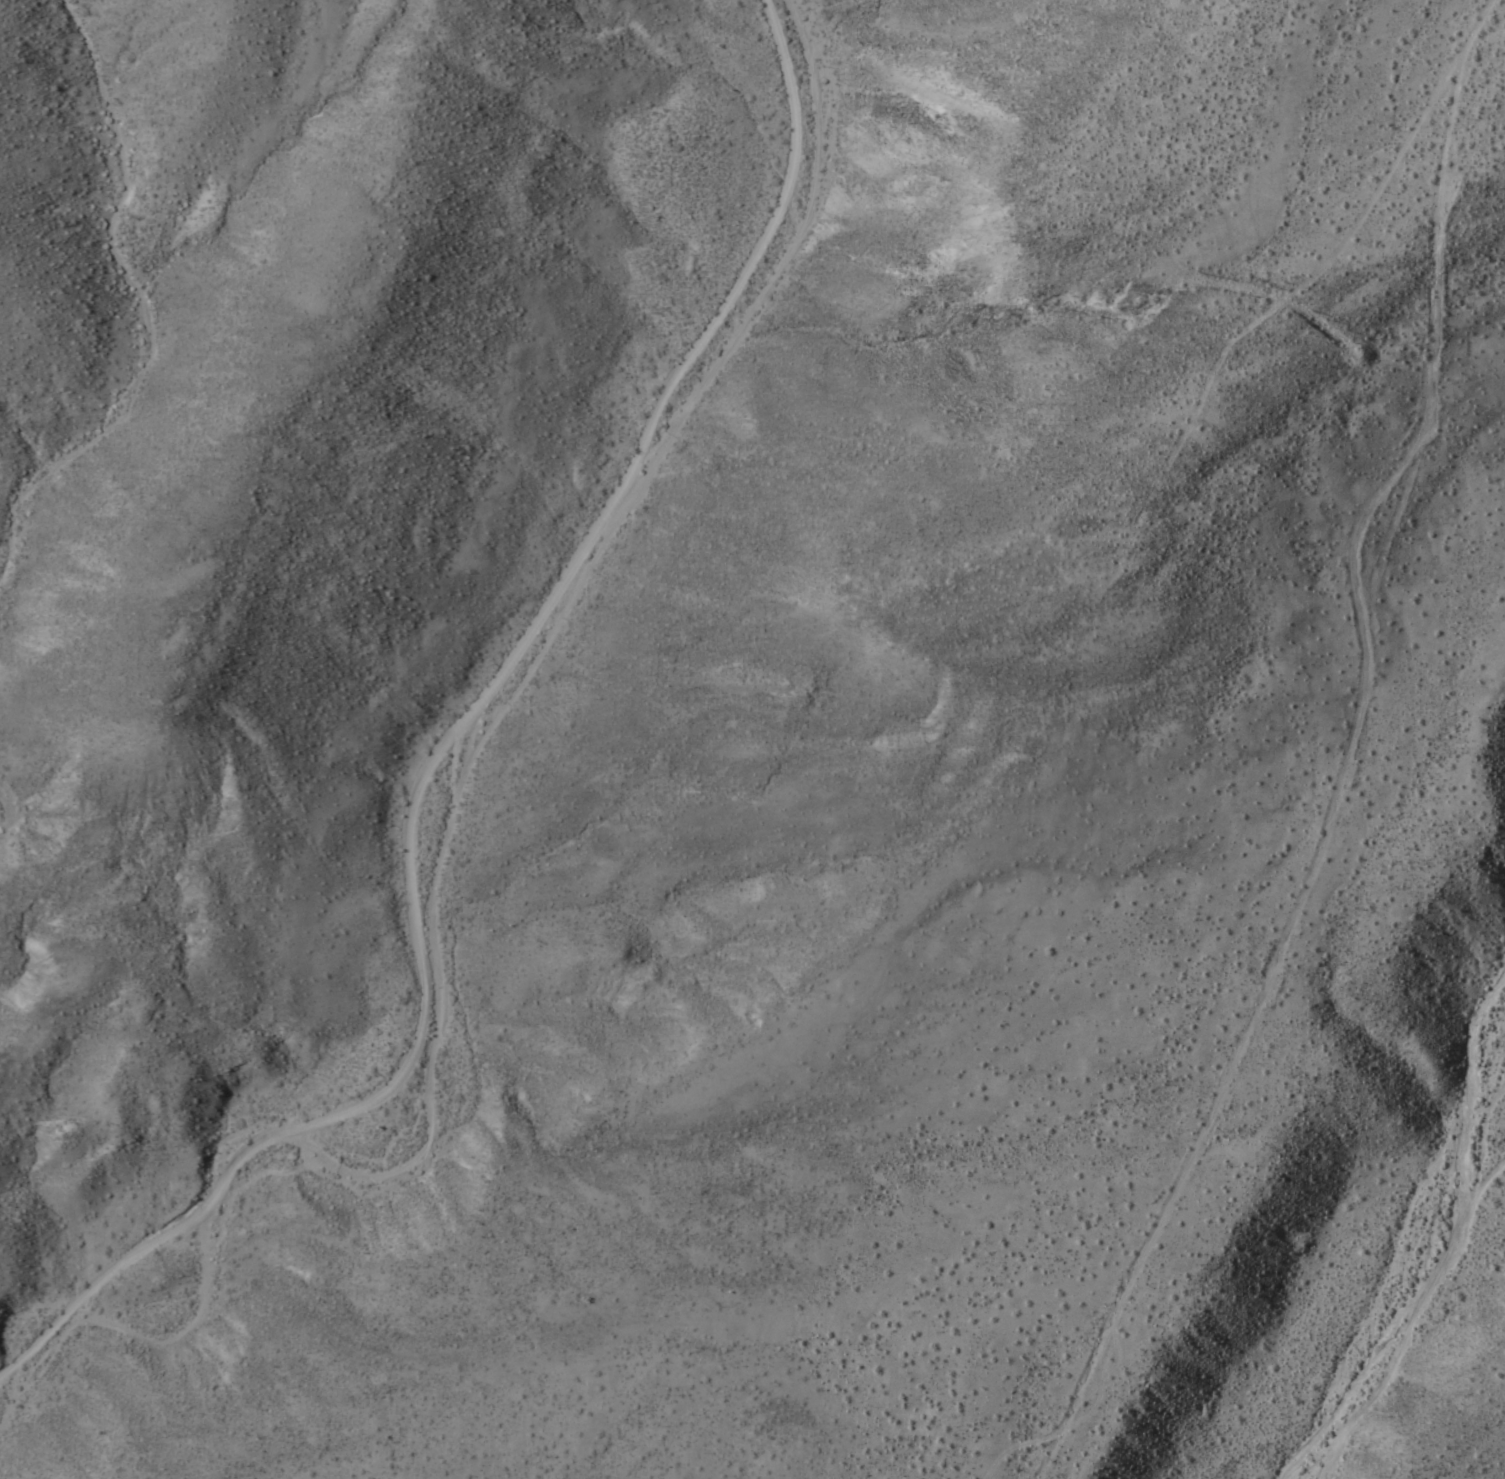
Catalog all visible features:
road: (478, 745)
road: (1410, 1319)

